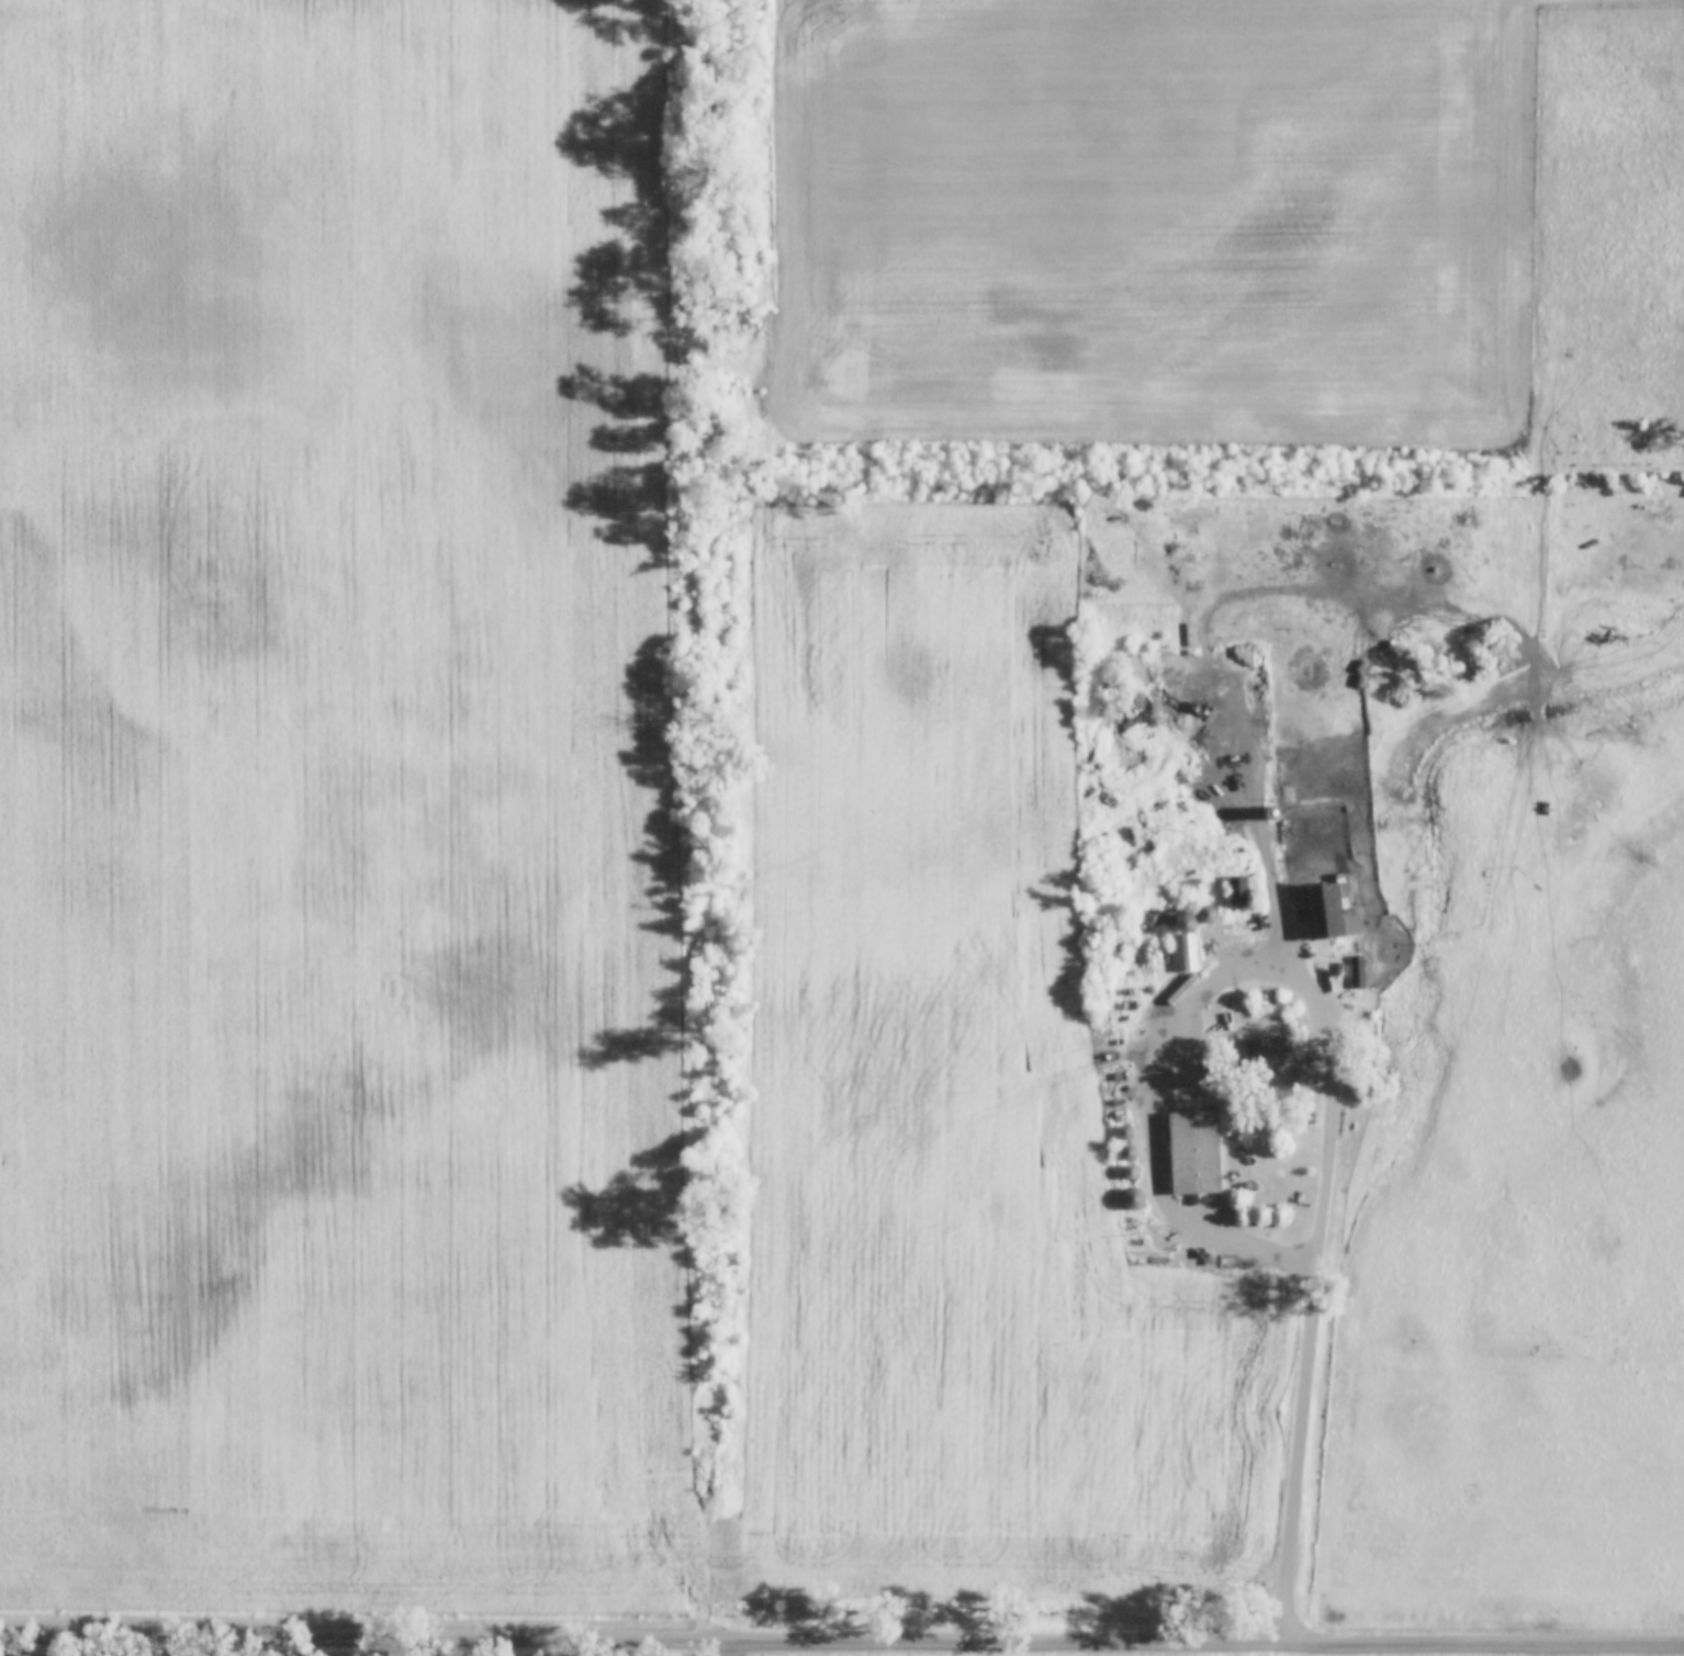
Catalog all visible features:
road: (1273, 863)
building: (1238, 889)
building: (1334, 906)
building: (1205, 914)
building: (1182, 953)
building: (1268, 1050)
road: (1332, 1062)
building: (1300, 1086)
building: (1127, 1152)
building: (1194, 1152)
building: (1133, 1198)
road: (841, 1642)

